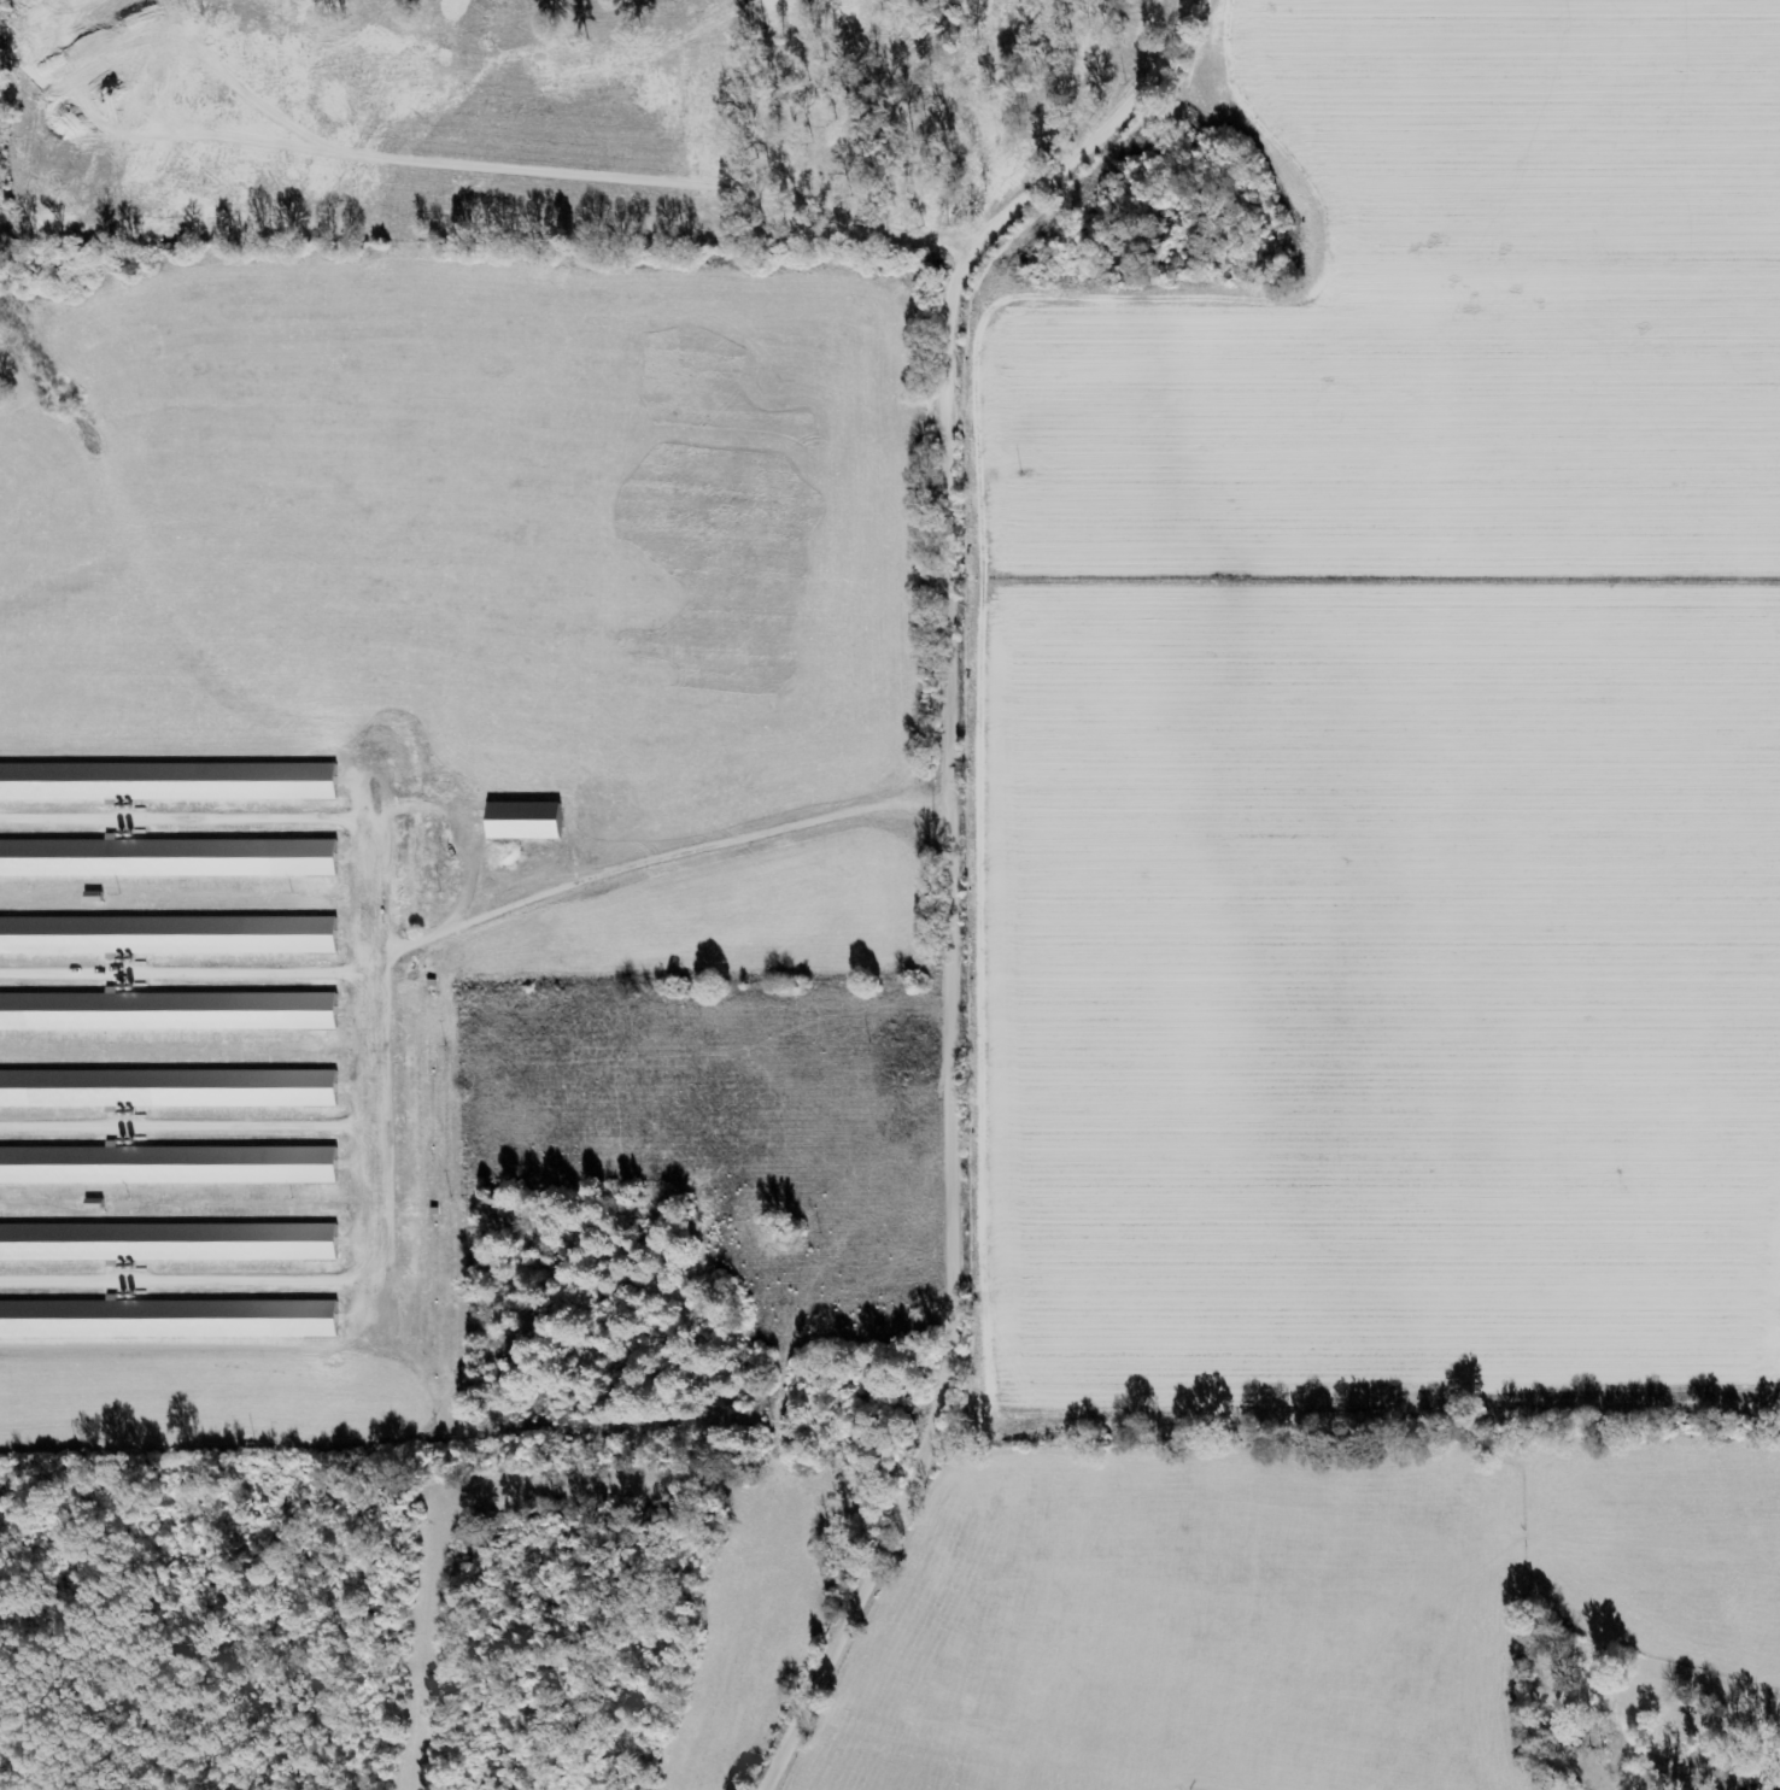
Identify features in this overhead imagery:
building: (165, 782)
building: (520, 821)
building: (165, 858)
road: (945, 867)
building: (165, 935)
building: (165, 1013)
building: (165, 1090)
building: (166, 1166)
building: (165, 1243)
building: (165, 1320)

